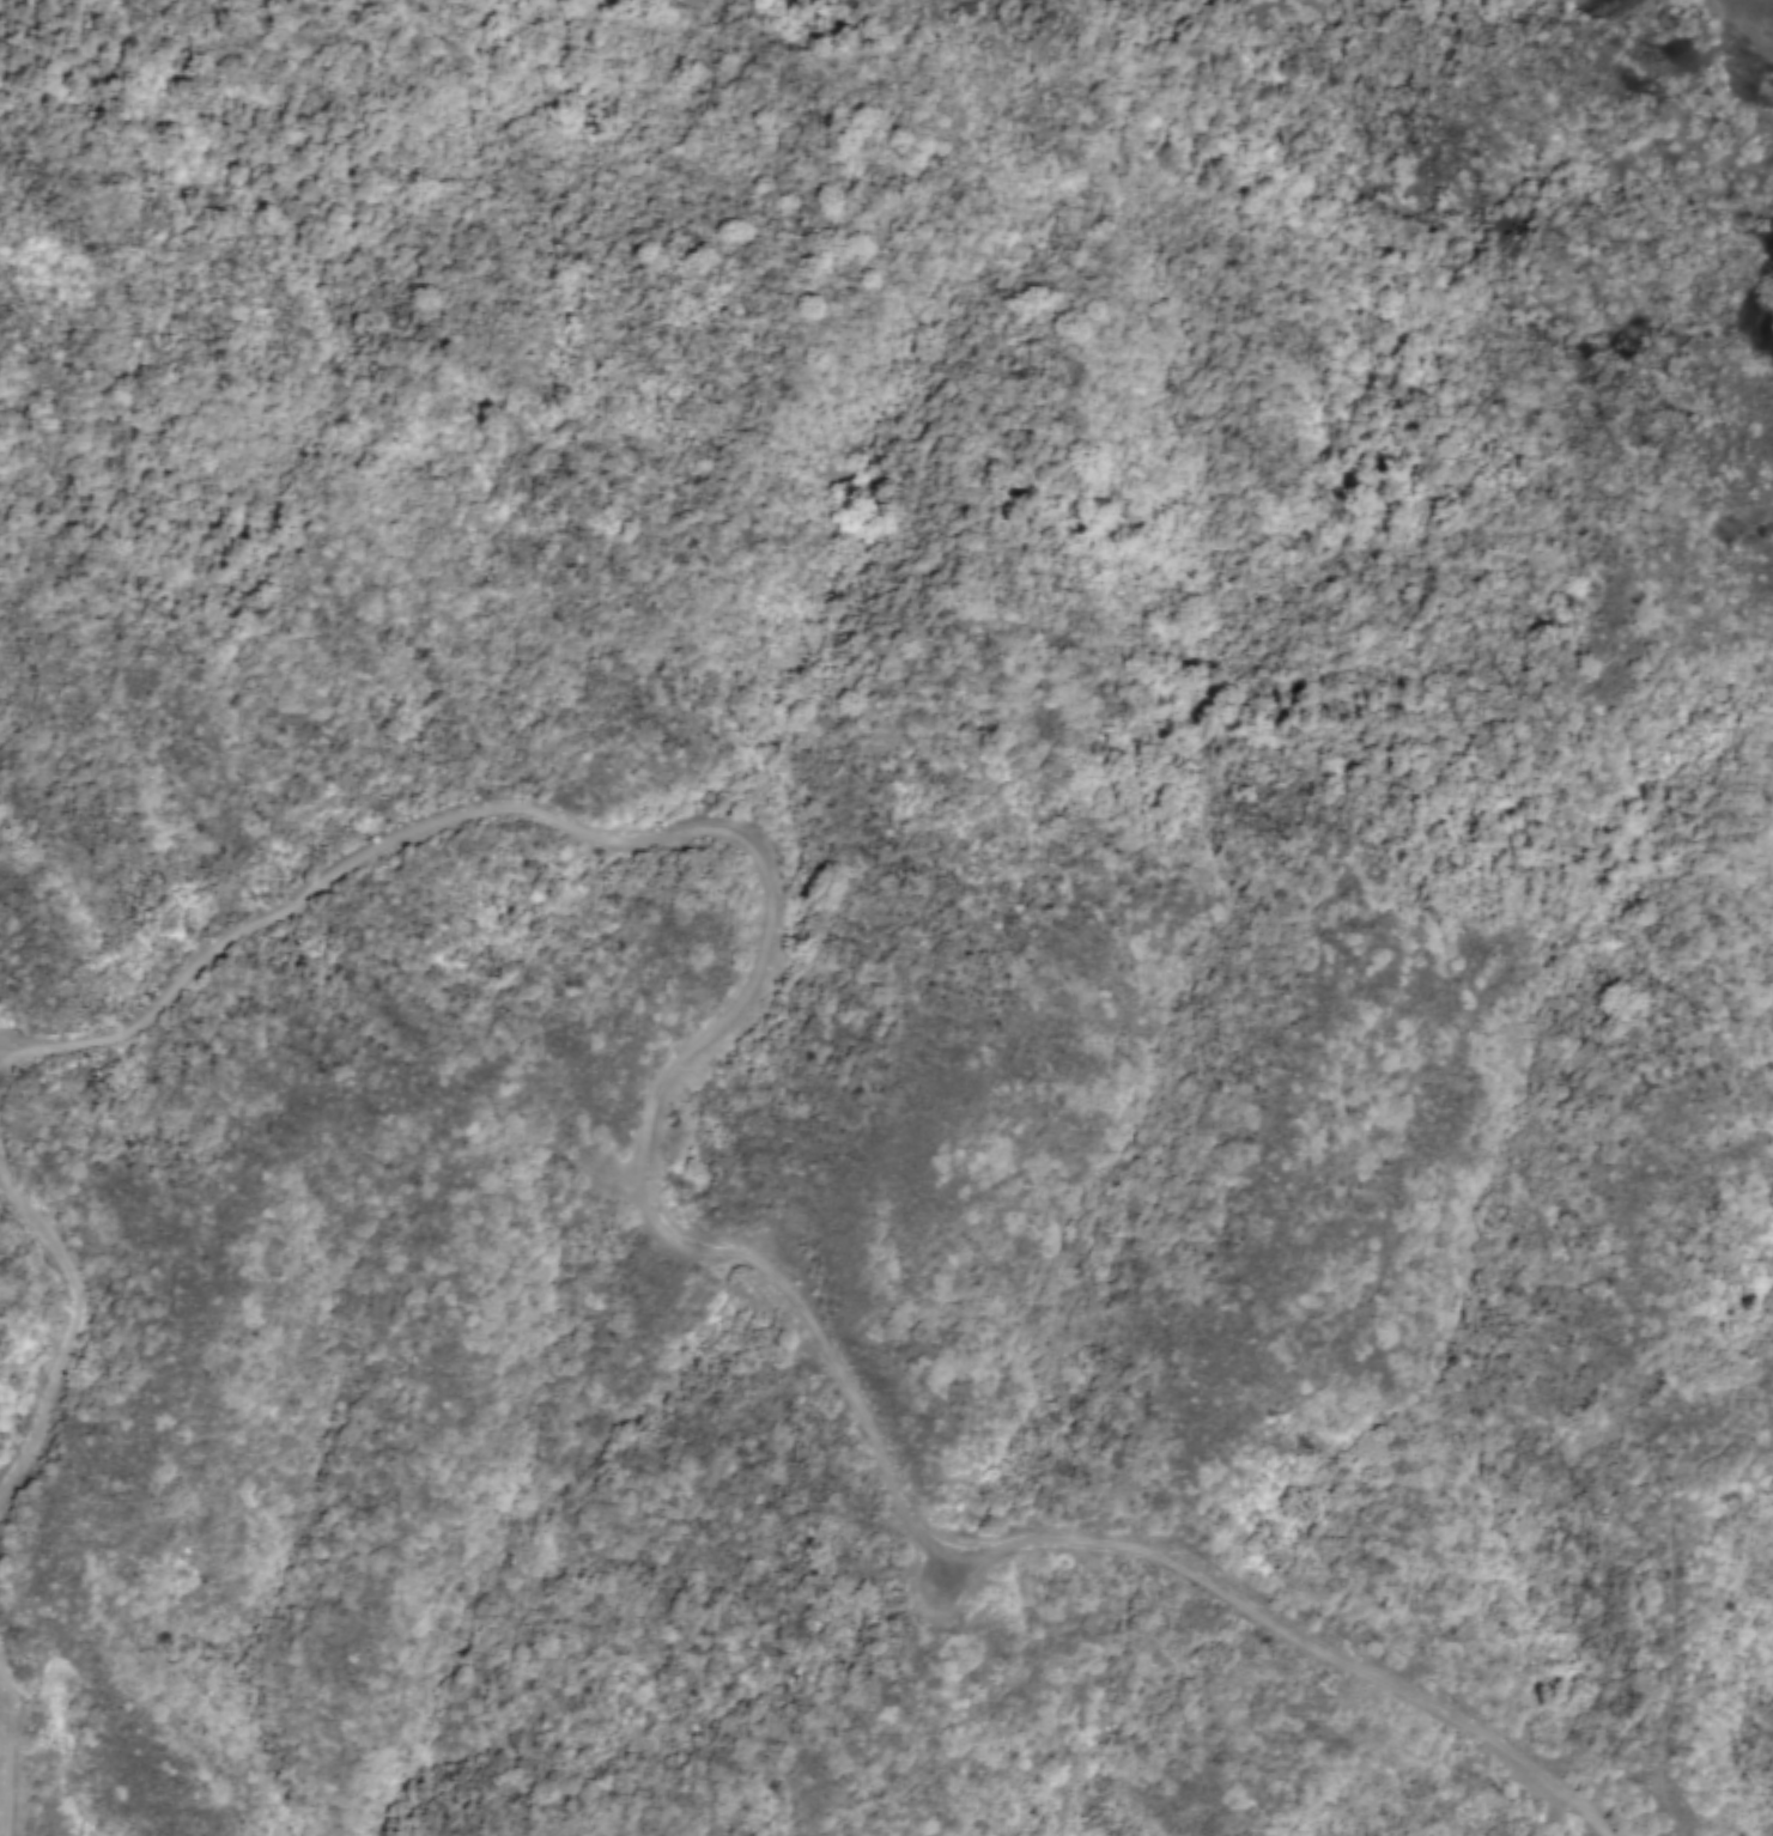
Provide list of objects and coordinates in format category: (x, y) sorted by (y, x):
road: (1744, 63)
road: (642, 1200)
road: (72, 1329)
road: (1671, 1585)
road: (11, 1749)

